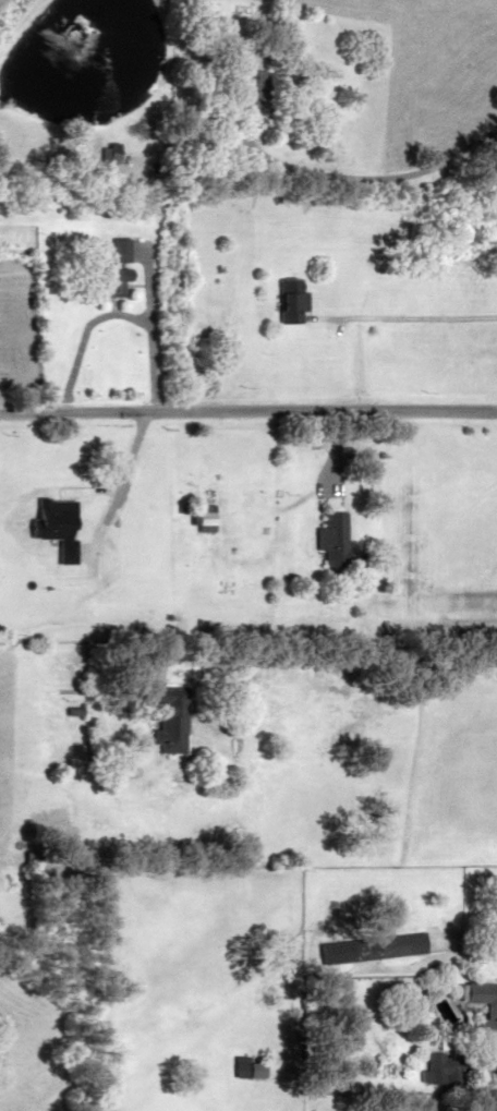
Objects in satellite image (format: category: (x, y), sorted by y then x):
building: (244, 87)
road: (369, 173)
building: (102, 276)
building: (287, 298)
road: (110, 312)
road: (407, 317)
road: (248, 410)
building: (192, 517)
building: (328, 538)
building: (163, 714)
building: (388, 944)
building: (482, 1007)
building: (242, 1066)

